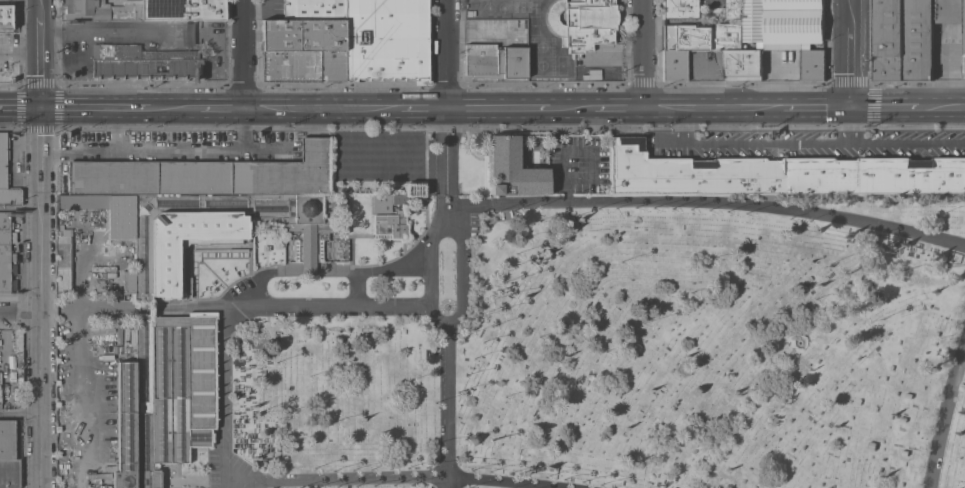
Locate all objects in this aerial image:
road: (848, 4)
building: (101, 9)
building: (183, 9)
building: (314, 9)
building: (681, 9)
building: (731, 9)
building: (5, 18)
building: (583, 22)
building: (783, 22)
road: (95, 28)
building: (303, 34)
building: (702, 36)
building: (910, 36)
building: (386, 40)
building: (756, 47)
road: (17, 51)
road: (242, 53)
road: (446, 53)
road: (645, 53)
road: (848, 57)
building: (495, 60)
building: (144, 61)
building: (812, 64)
building: (303, 65)
building: (675, 65)
building: (743, 65)
building: (592, 74)
road: (816, 106)
traffic signals: (848, 106)
road: (882, 106)
road: (941, 106)
road: (18, 107)
traffic signals: (36, 107)
road: (92, 107)
road: (322, 107)
road: (423, 107)
road: (497, 107)
road: (571, 107)
road: (620, 107)
road: (715, 107)
road: (174, 108)
road: (221, 108)
road: (848, 125)
road: (681, 126)
parking lot: (176, 143)
parking lot: (804, 143)
road: (75, 145)
road: (177, 145)
road: (669, 145)
road: (823, 145)
road: (264, 146)
parking lot: (173, 148)
building: (3, 160)
parking lot: (574, 163)
road: (445, 168)
building: (513, 169)
building: (778, 173)
building: (207, 175)
building: (414, 189)
building: (383, 202)
road: (706, 205)
road: (18, 209)
building: (129, 212)
building: (393, 224)
road: (423, 228)
road: (435, 236)
road: (350, 240)
road: (36, 243)
road: (265, 251)
building: (5, 252)
building: (308, 253)
road: (286, 254)
road: (249, 260)
building: (63, 264)
building: (165, 264)
road: (308, 266)
road: (257, 270)
road: (376, 272)
road: (308, 273)
road: (81, 274)
road: (461, 277)
road: (263, 278)
building: (99, 284)
road: (223, 285)
road: (430, 288)
road: (360, 289)
road: (332, 306)
road: (114, 308)
road: (193, 308)
road: (57, 309)
road: (18, 310)
park: (502, 330)
road: (802, 336)
building: (18, 354)
building: (962, 387)
building: (0, 395)
building: (908, 395)
building: (164, 396)
road: (226, 397)
road: (446, 399)
road: (18, 412)
building: (903, 419)
road: (946, 419)
building: (872, 445)
building: (904, 452)
building: (8, 455)
parking lot: (212, 468)
road: (336, 479)
road: (506, 481)
road: (446, 482)

